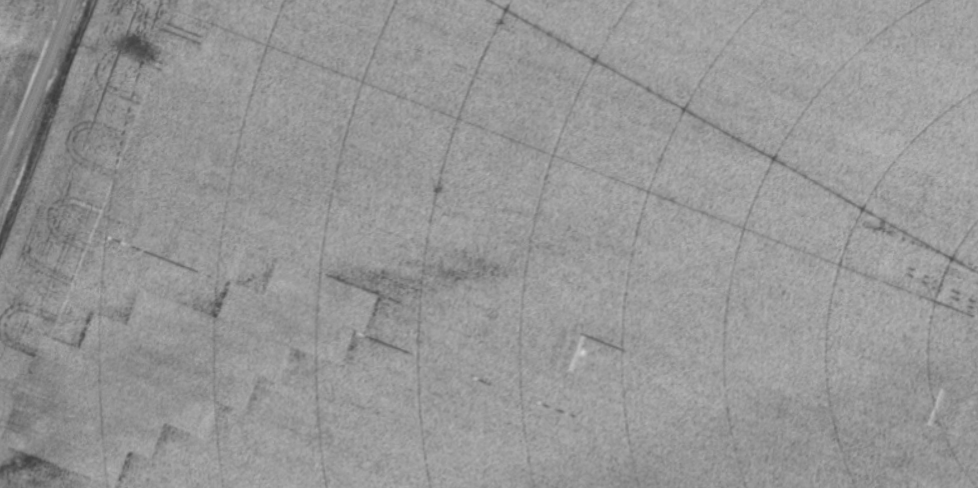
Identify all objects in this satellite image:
road: (36, 95)

